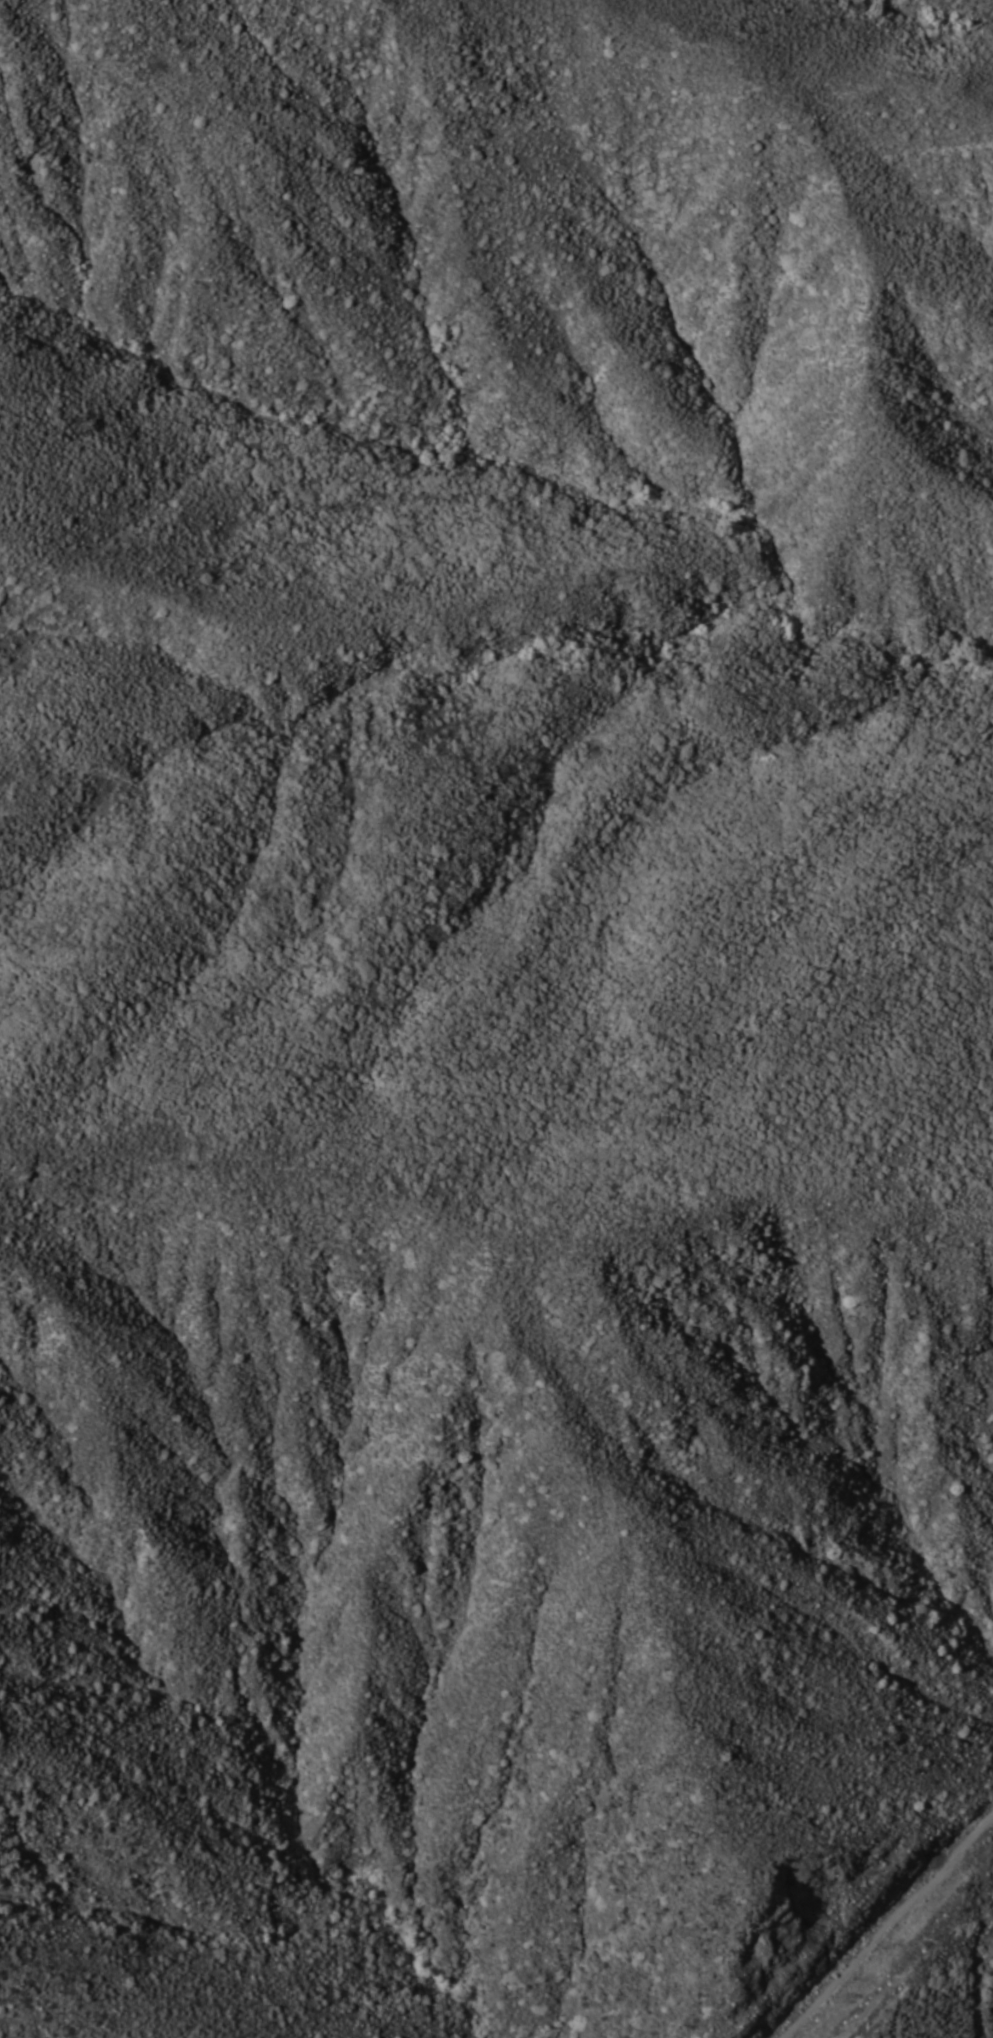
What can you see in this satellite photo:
road: (889, 1925)

